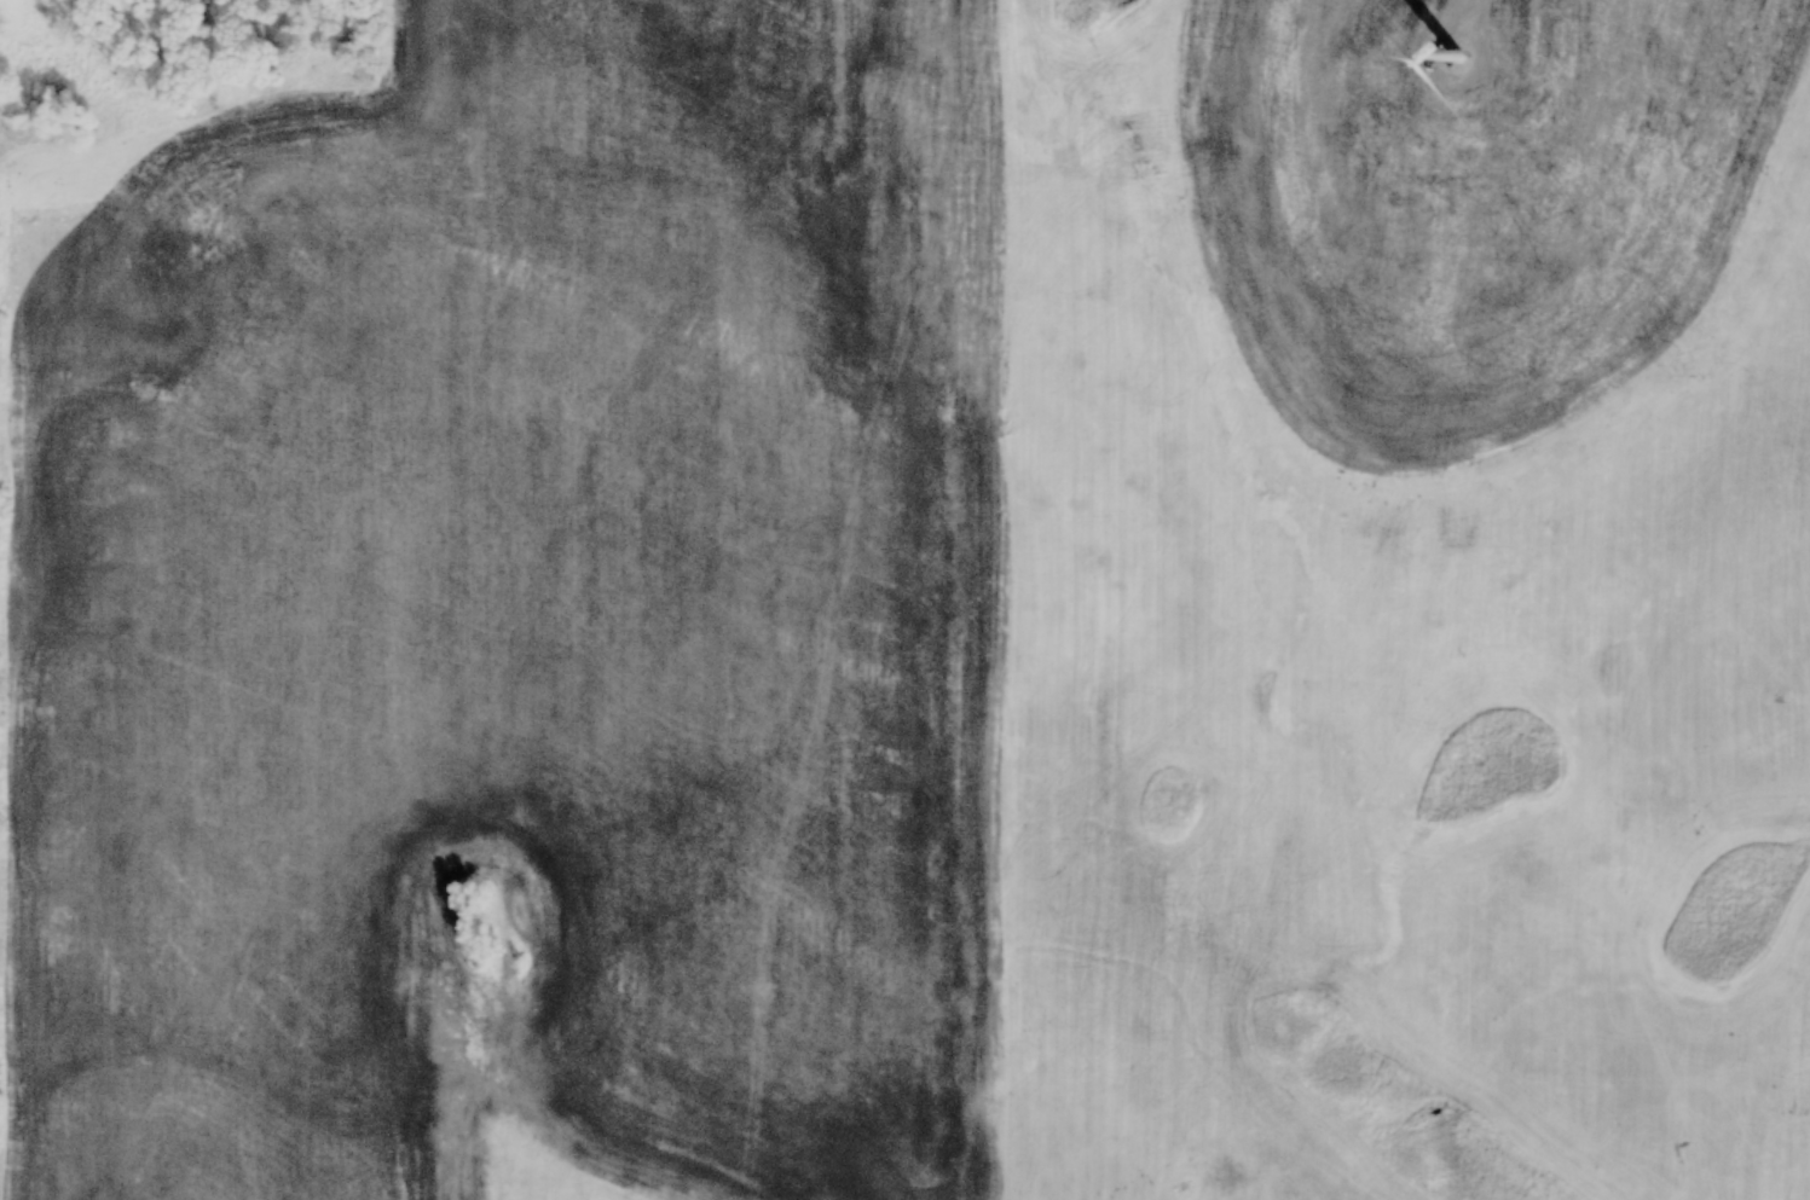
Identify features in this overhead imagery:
wind turbine: (1457, 52)

